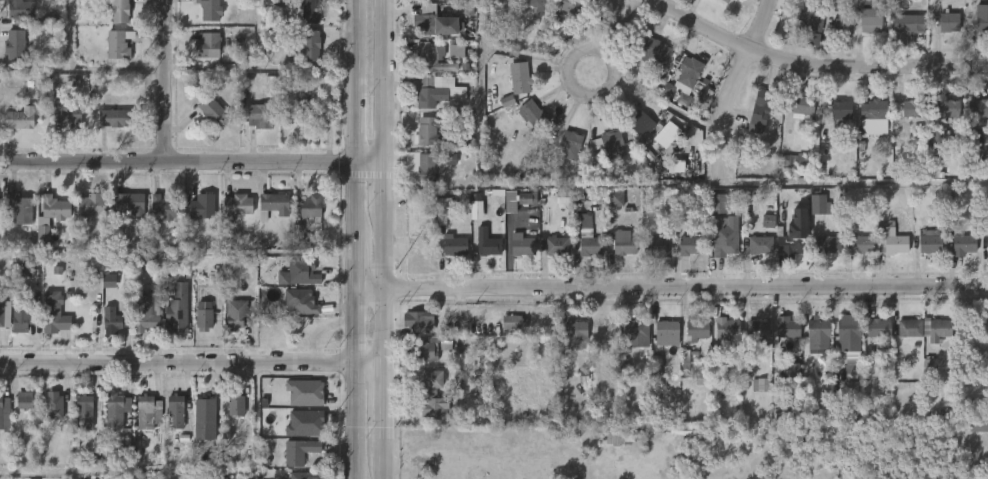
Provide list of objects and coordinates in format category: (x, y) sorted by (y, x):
building: (545, 0)
building: (804, 0)
building: (419, 1)
building: (495, 1)
building: (722, 1)
building: (283, 2)
building: (573, 6)
building: (21, 8)
building: (528, 8)
building: (209, 9)
building: (119, 11)
building: (308, 11)
building: (871, 16)
building: (202, 17)
building: (13, 18)
building: (981, 18)
building: (811, 19)
building: (435, 20)
building: (948, 21)
building: (907, 24)
road: (618, 31)
building: (803, 31)
building: (863, 31)
building: (427, 33)
road: (66, 34)
building: (901, 34)
building: (828, 36)
building: (15, 44)
building: (117, 44)
building: (310, 44)
building: (207, 47)
building: (651, 50)
building: (111, 55)
building: (9, 56)
building: (304, 56)
building: (433, 57)
building: (449, 62)
road: (245, 65)
road: (307, 65)
road: (82, 68)
building: (424, 69)
building: (688, 72)
road: (808, 72)
building: (520, 79)
road: (164, 82)
road: (353, 82)
road: (385, 82)
building: (513, 88)
road: (734, 89)
building: (436, 94)
road: (571, 99)
building: (797, 105)
building: (911, 108)
building: (300, 109)
building: (948, 109)
building: (977, 109)
building: (760, 110)
building: (210, 111)
building: (839, 111)
building: (67, 112)
building: (872, 114)
building: (533, 115)
building: (258, 116)
building: (19, 118)
building: (111, 119)
building: (903, 119)
building: (942, 119)
building: (973, 119)
building: (206, 121)
building: (61, 123)
building: (525, 123)
building: (638, 123)
building: (834, 125)
building: (254, 126)
building: (868, 127)
building: (14, 129)
building: (107, 129)
building: (424, 131)
building: (634, 134)
building: (608, 142)
building: (570, 144)
building: (602, 154)
building: (563, 156)
building: (793, 161)
road: (176, 164)
road: (369, 165)
building: (424, 167)
building: (420, 178)
road: (385, 185)
road: (640, 186)
building: (128, 202)
building: (92, 204)
building: (817, 204)
building: (233, 205)
building: (273, 205)
building: (308, 205)
building: (202, 206)
building: (55, 207)
building: (20, 208)
building: (160, 208)
building: (556, 208)
building: (520, 209)
building: (608, 209)
building: (119, 213)
building: (812, 213)
building: (416, 214)
building: (85, 215)
building: (267, 215)
building: (305, 216)
building: (230, 217)
building: (49, 218)
building: (196, 218)
building: (14, 219)
building: (469, 220)
building: (160, 221)
building: (406, 229)
building: (576, 231)
building: (724, 237)
building: (890, 239)
building: (928, 241)
building: (487, 242)
building: (588, 243)
building: (791, 243)
building: (827, 243)
building: (860, 243)
building: (963, 243)
building: (987, 243)
building: (452, 244)
building: (522, 244)
building: (659, 244)
building: (758, 244)
building: (37, 245)
building: (555, 245)
building: (624, 245)
building: (689, 245)
building: (884, 250)
building: (923, 252)
building: (481, 254)
building: (784, 254)
building: (515, 255)
building: (583, 255)
building: (654, 255)
building: (683, 255)
building: (821, 255)
building: (855, 255)
building: (956, 255)
building: (448, 256)
building: (550, 256)
building: (754, 256)
building: (300, 271)
building: (293, 282)
road: (385, 285)
road: (671, 295)
building: (298, 302)
building: (174, 307)
building: (144, 310)
building: (234, 311)
building: (1, 312)
building: (54, 313)
building: (21, 316)
building: (204, 316)
building: (297, 317)
building: (115, 318)
building: (414, 321)
road: (353, 322)
building: (48, 324)
building: (2, 325)
building: (230, 325)
building: (198, 326)
building: (910, 327)
building: (695, 328)
building: (786, 328)
building: (15, 329)
building: (107, 329)
building: (634, 329)
building: (726, 329)
building: (879, 329)
building: (937, 329)
building: (411, 332)
building: (667, 332)
building: (507, 333)
building: (756, 333)
building: (575, 334)
building: (818, 334)
building: (603, 336)
building: (918, 337)
building: (902, 338)
building: (781, 339)
building: (719, 340)
building: (932, 340)
building: (690, 341)
building: (660, 343)
building: (630, 344)
building: (851, 345)
building: (872, 345)
building: (811, 347)
building: (420, 348)
building: (842, 348)
building: (419, 362)
road: (193, 367)
building: (728, 367)
building: (702, 374)
building: (431, 395)
building: (753, 395)
building: (299, 403)
building: (54, 405)
road: (386, 408)
building: (18, 410)
building: (116, 410)
building: (149, 411)
building: (784, 411)
building: (84, 412)
building: (175, 412)
building: (4, 414)
building: (47, 415)
building: (230, 416)
building: (818, 416)
building: (204, 417)
building: (110, 421)
building: (78, 422)
building: (169, 422)
building: (142, 423)
building: (977, 423)
building: (973, 436)
building: (296, 451)
building: (293, 462)
road: (387, 465)
building: (305, 475)

